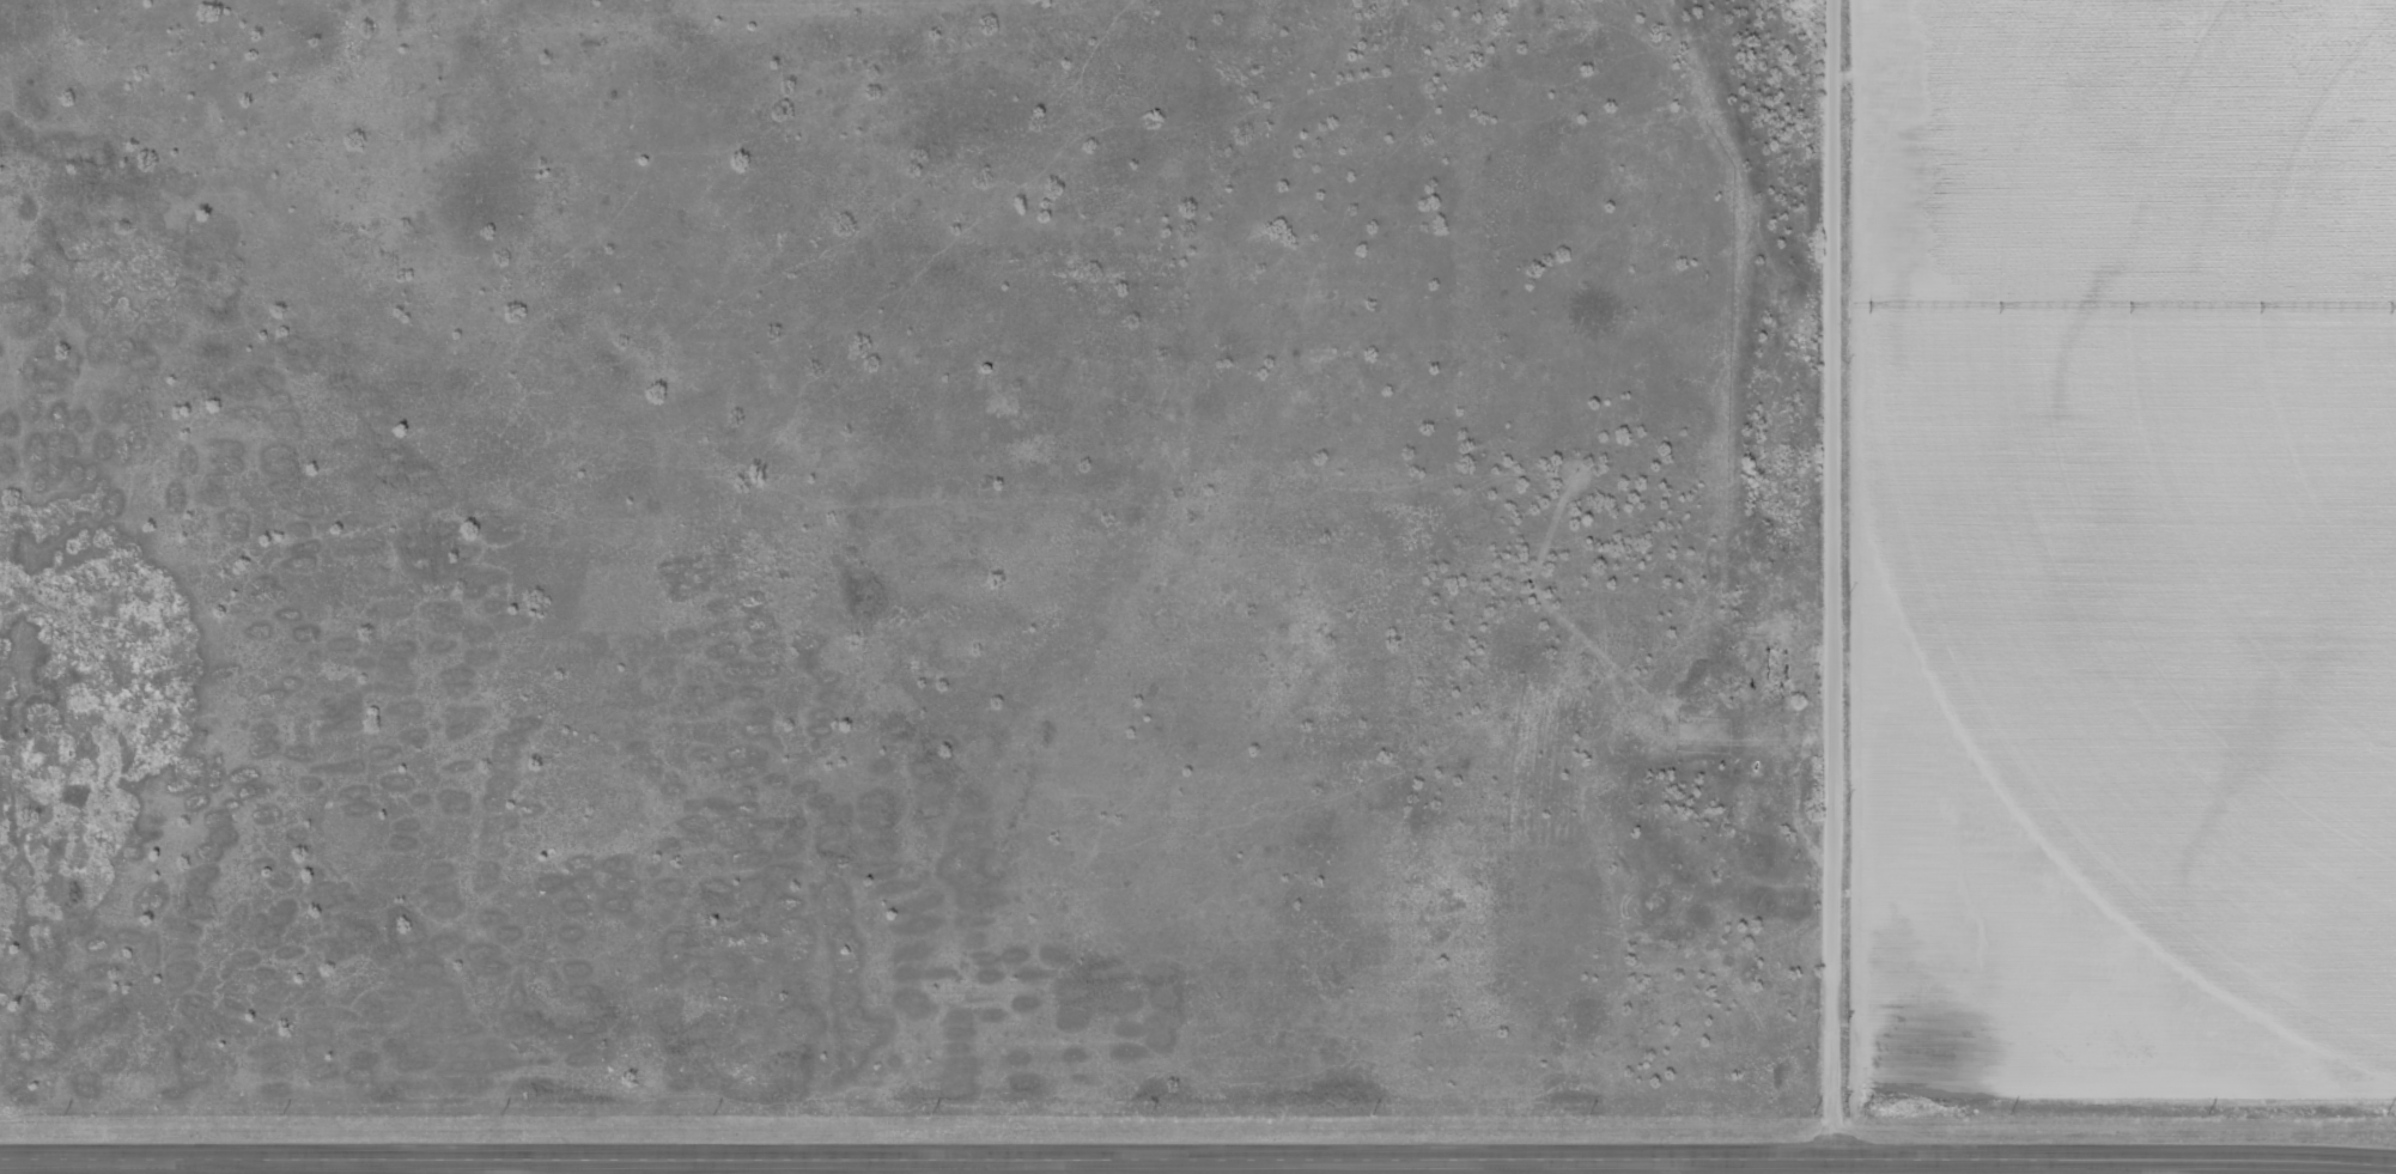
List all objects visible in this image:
road: (1838, 578)
building: (1772, 673)
road: (1198, 1157)

